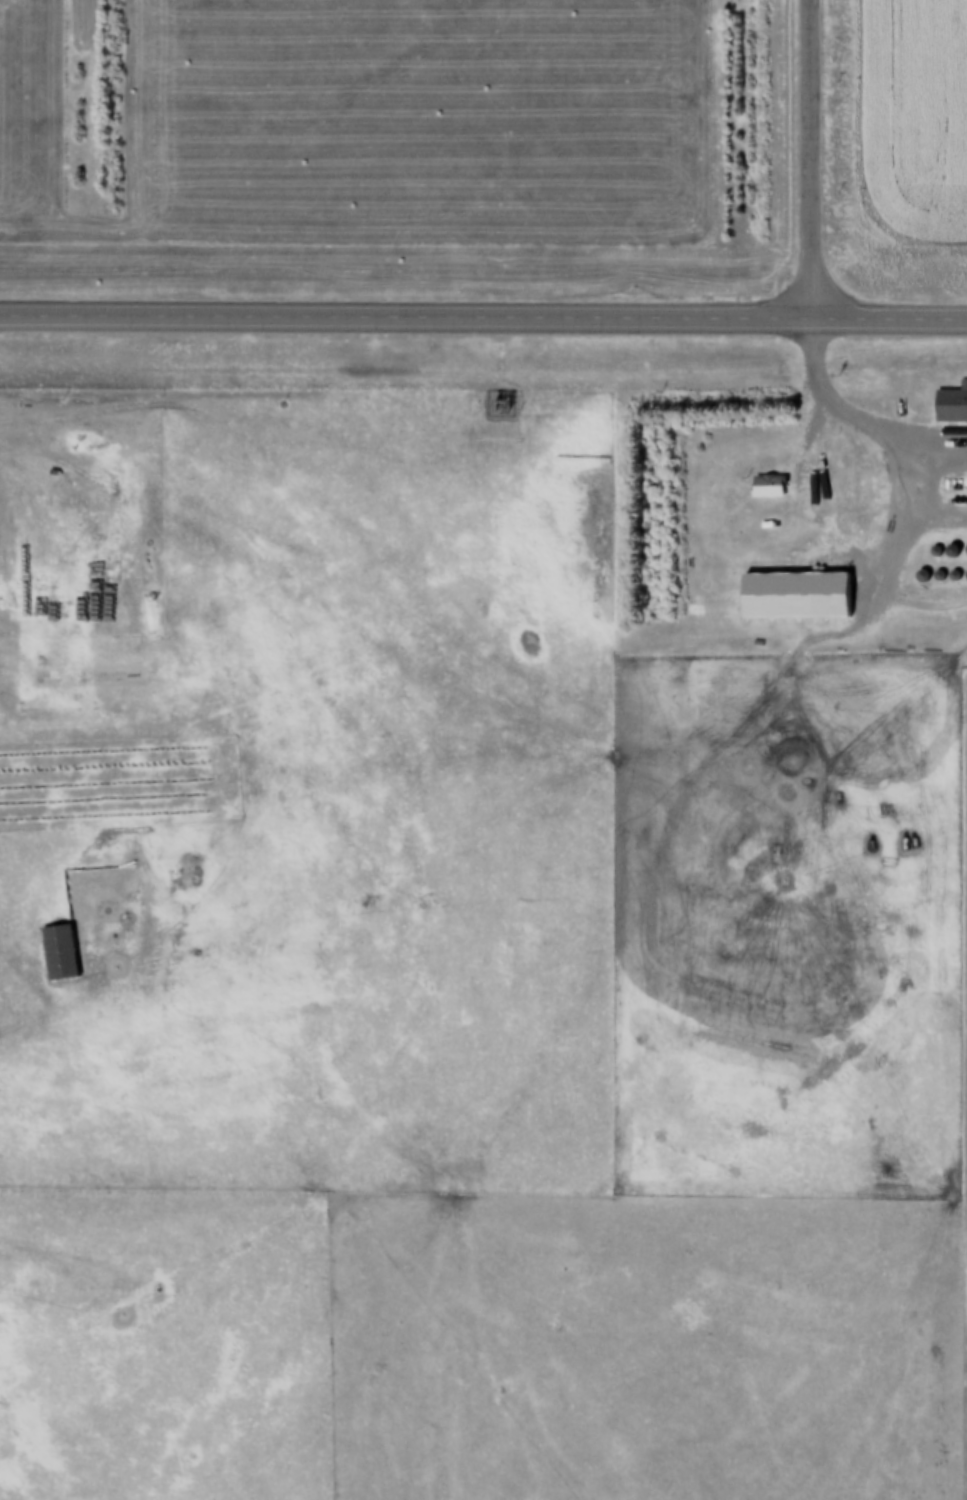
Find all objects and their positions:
road: (820, 166)
road: (483, 331)
building: (952, 400)
building: (966, 476)
silo: (966, 476)
building: (766, 482)
building: (966, 546)
silo: (966, 546)
building: (935, 547)
silo: (935, 547)
building: (951, 547)
silo: (951, 547)
building: (966, 571)
silo: (966, 571)
building: (922, 572)
silo: (922, 572)
building: (938, 572)
silo: (938, 572)
building: (953, 572)
silo: (953, 572)
building: (795, 591)
building: (59, 947)

